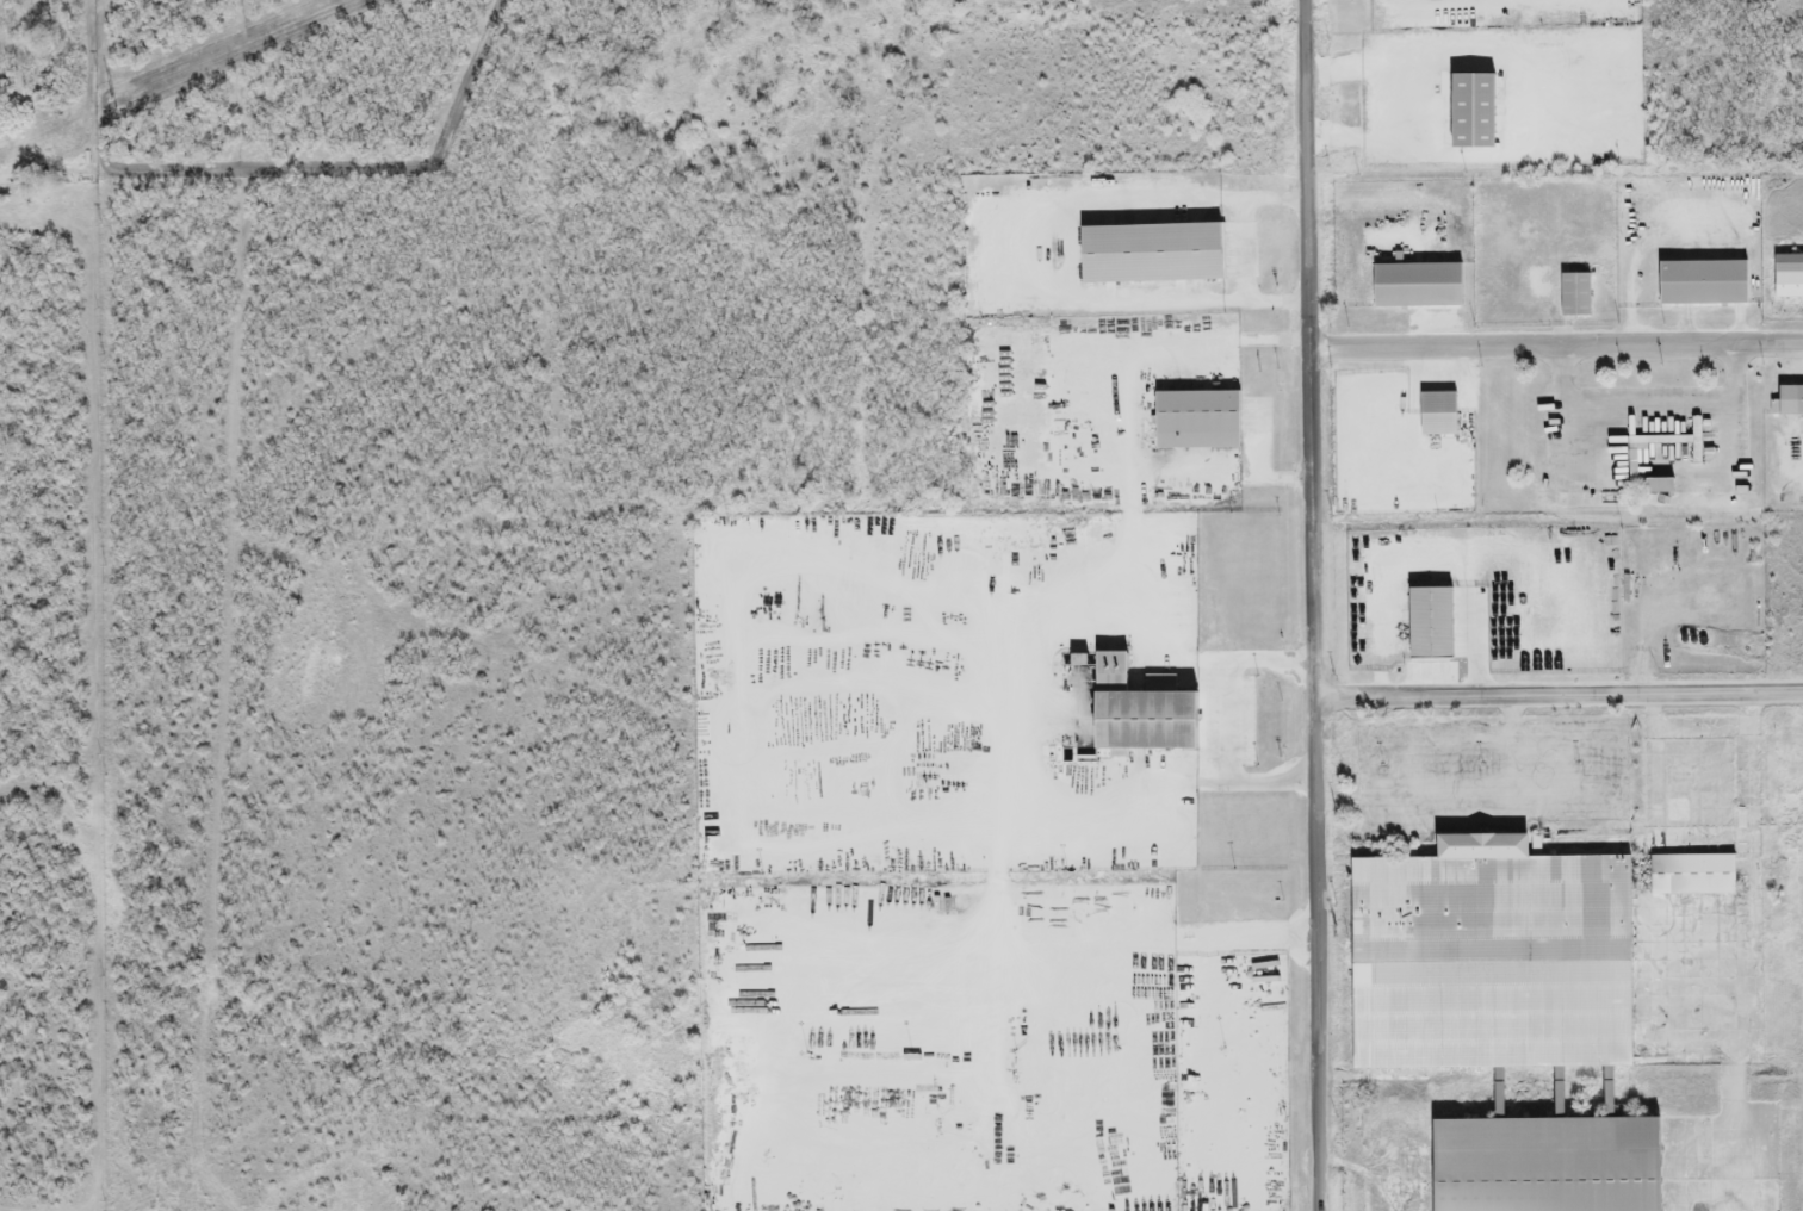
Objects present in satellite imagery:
road: (1388, 101)
power tower: (107, 107)
road: (1561, 112)
road: (1241, 248)
building: (1140, 254)
building: (1787, 278)
building: (1699, 285)
building: (1411, 286)
building: (1573, 294)
road: (1555, 350)
building: (1789, 400)
building: (1190, 421)
road: (1650, 470)
building: (1654, 487)
road: (1311, 604)
building: (1420, 622)
road: (1557, 695)
building: (1136, 722)
road: (1225, 724)
building: (1681, 874)
road: (1213, 938)
building: (1481, 962)
building: (1535, 1166)
road: (79, 1209)

